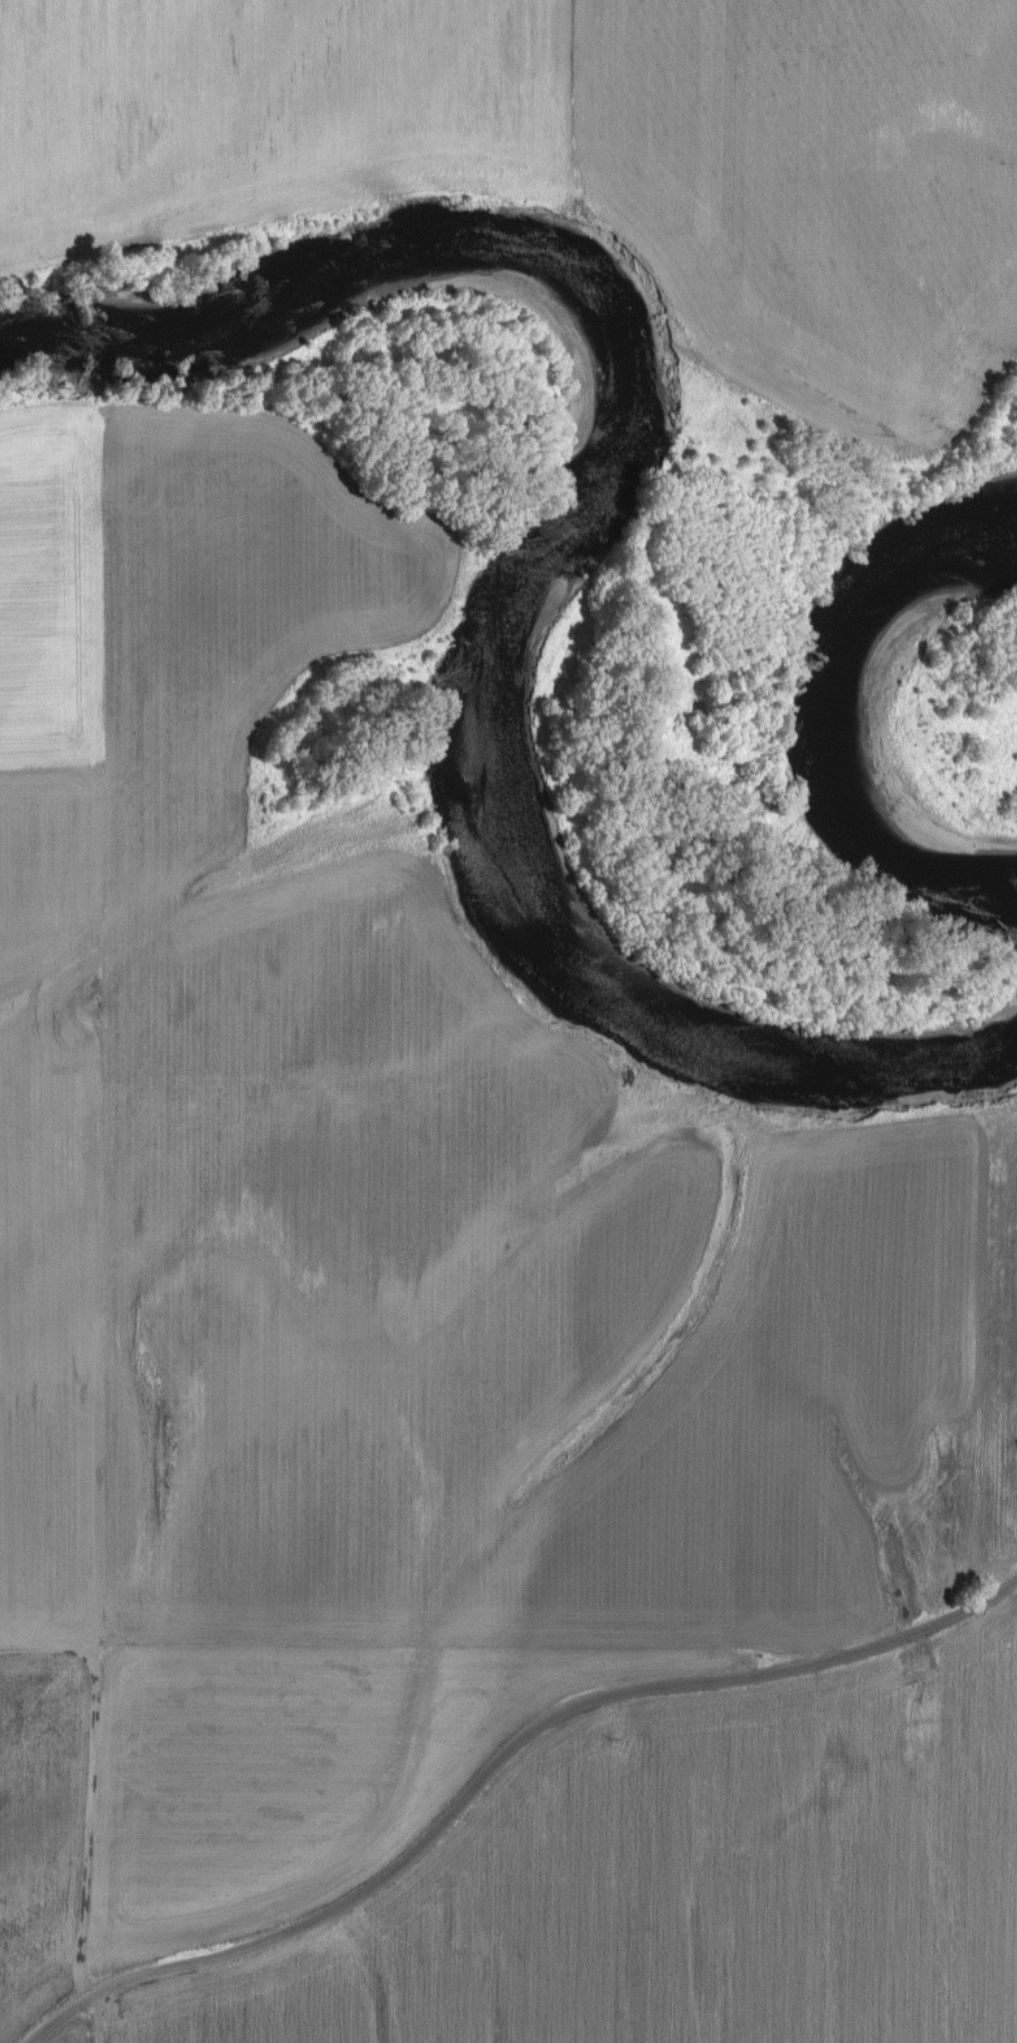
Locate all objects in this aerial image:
river: (570, 570)
river: (921, 659)
road: (499, 1761)

